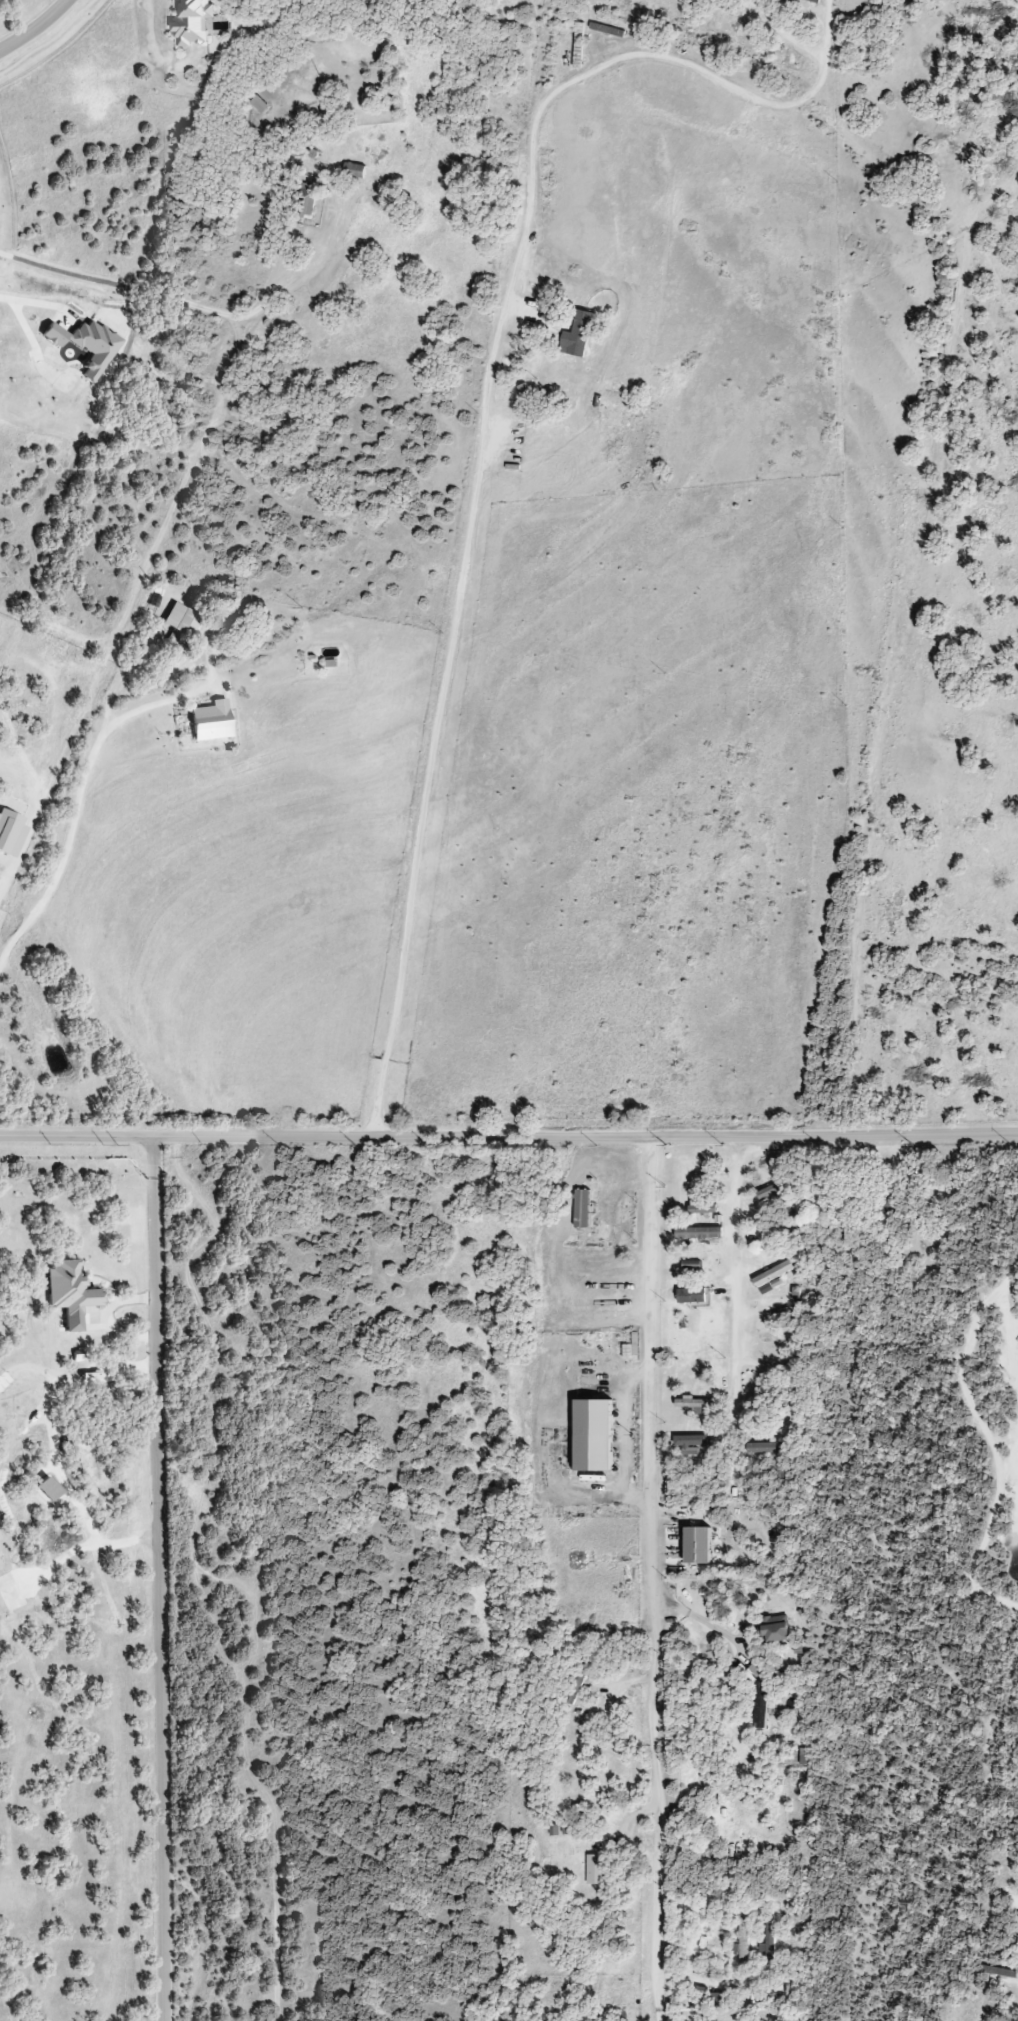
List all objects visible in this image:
building: (811, 1)
building: (192, 22)
road: (39, 30)
building: (259, 105)
building: (354, 170)
building: (305, 199)
road: (166, 298)
road: (24, 325)
building: (576, 333)
building: (527, 392)
road: (484, 402)
building: (180, 620)
building: (210, 721)
road: (78, 797)
road: (377, 1099)
road: (508, 1136)
road: (154, 1154)
building: (769, 1191)
building: (702, 1207)
building: (581, 1209)
building: (788, 1225)
building: (697, 1233)
building: (772, 1276)
road: (730, 1280)
building: (69, 1288)
building: (690, 1296)
road: (107, 1318)
building: (694, 1403)
building: (593, 1436)
building: (690, 1444)
building: (763, 1448)
building: (697, 1546)
road: (652, 1578)
road: (160, 1594)
road: (693, 1617)
building: (773, 1629)
building: (575, 1682)
building: (760, 1706)
building: (594, 1870)
building: (768, 1942)
building: (741, 1944)
building: (718, 2001)

